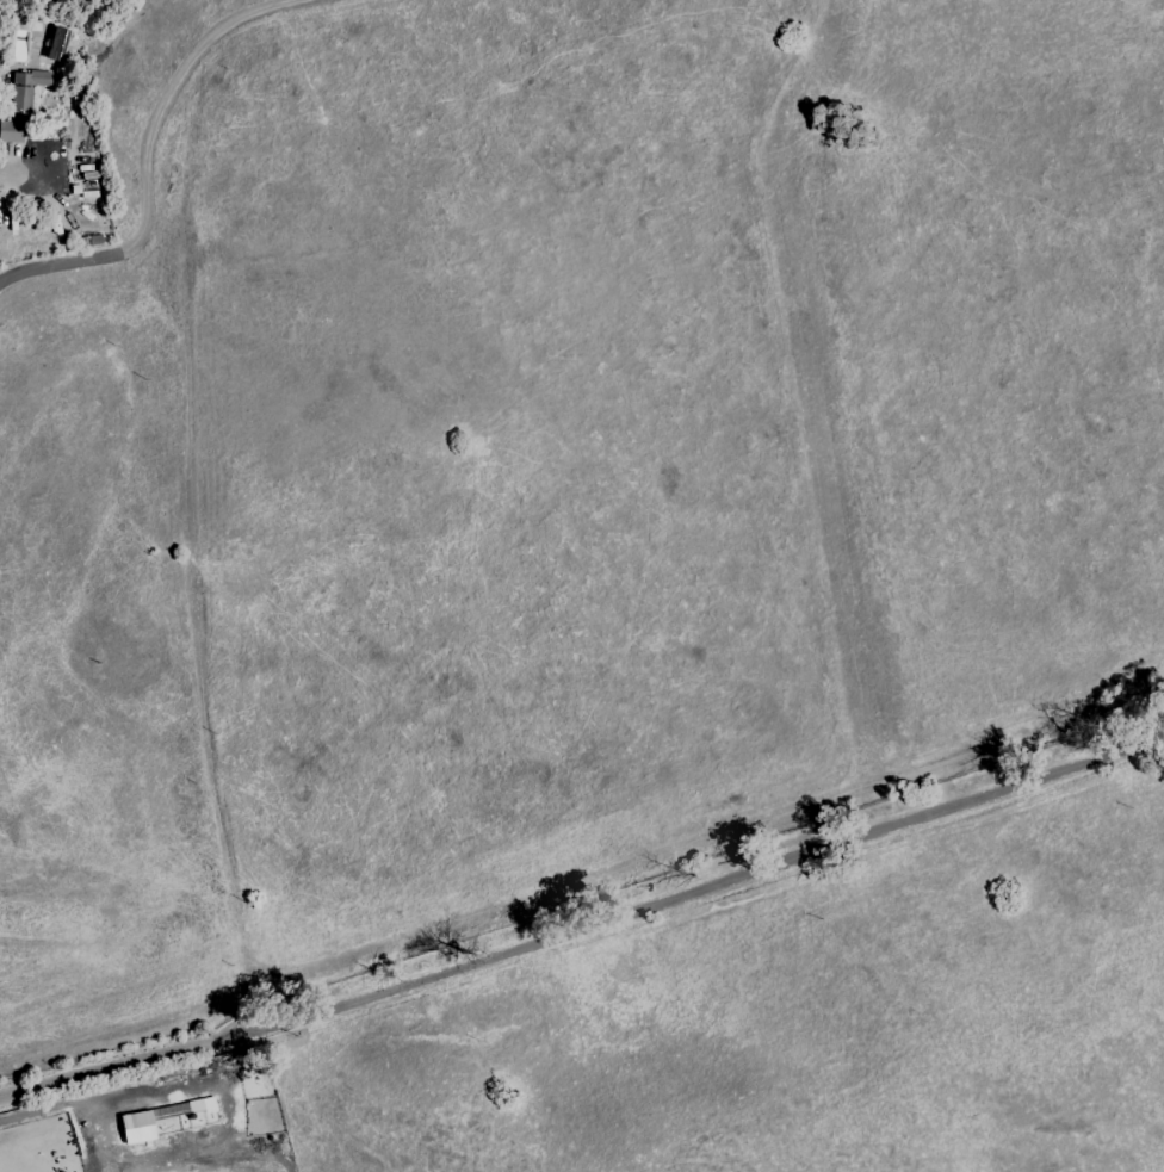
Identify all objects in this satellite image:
building: (55, 42)
building: (25, 88)
building: (11, 131)
road: (151, 149)
road: (23, 172)
building: (95, 240)
road: (716, 883)
road: (132, 1064)
building: (135, 1127)

